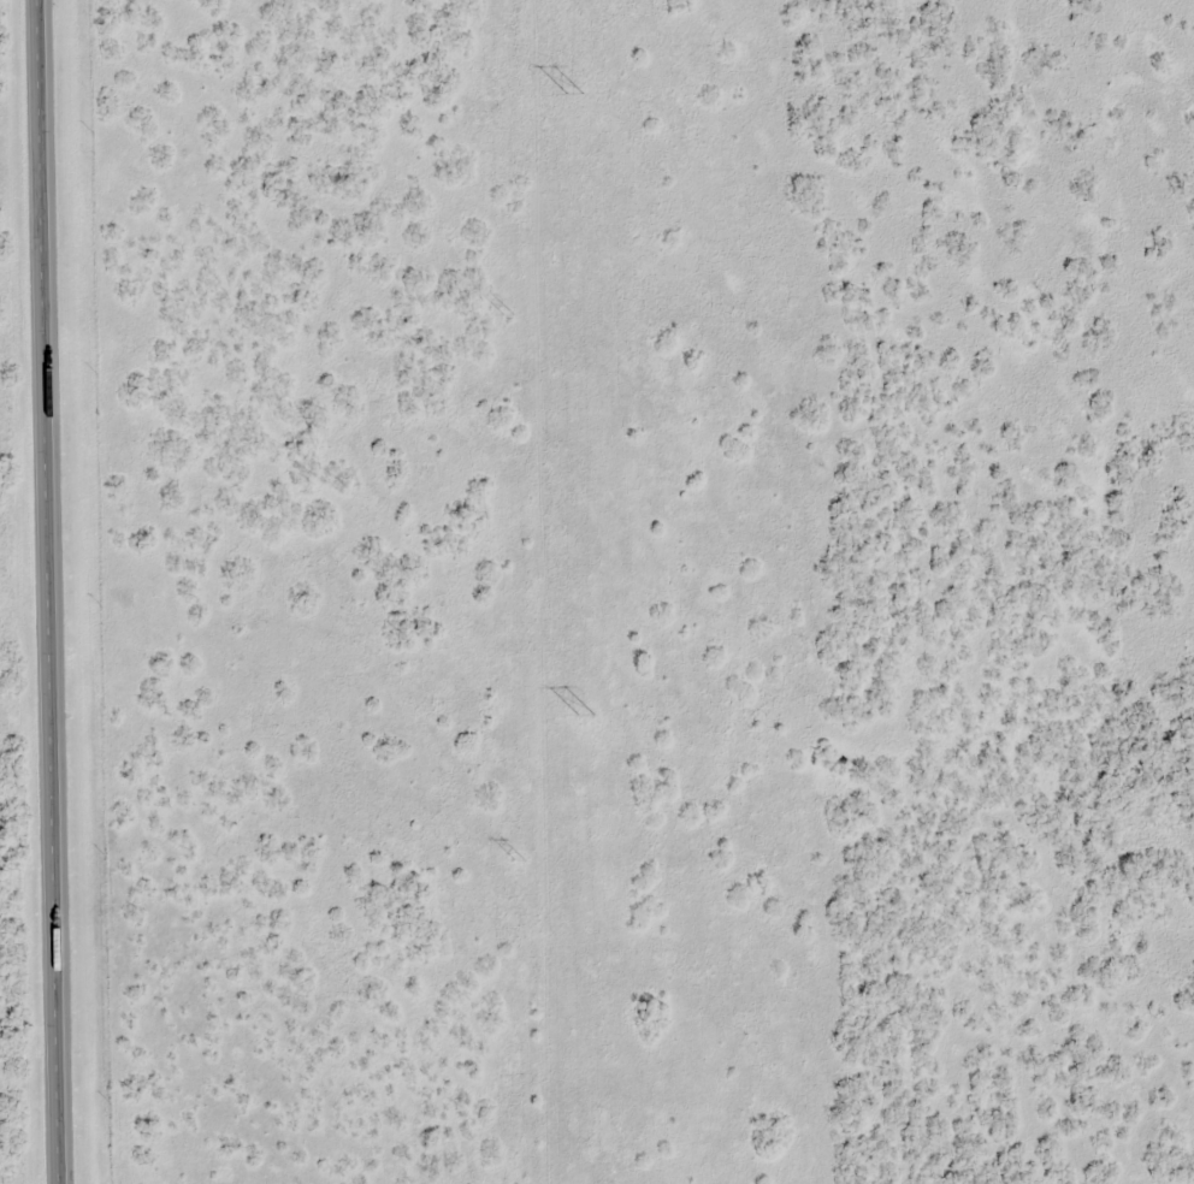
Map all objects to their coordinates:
power tower: (569, 97)
power tower: (508, 315)
road: (52, 591)
power tower: (584, 718)
power tower: (518, 862)

